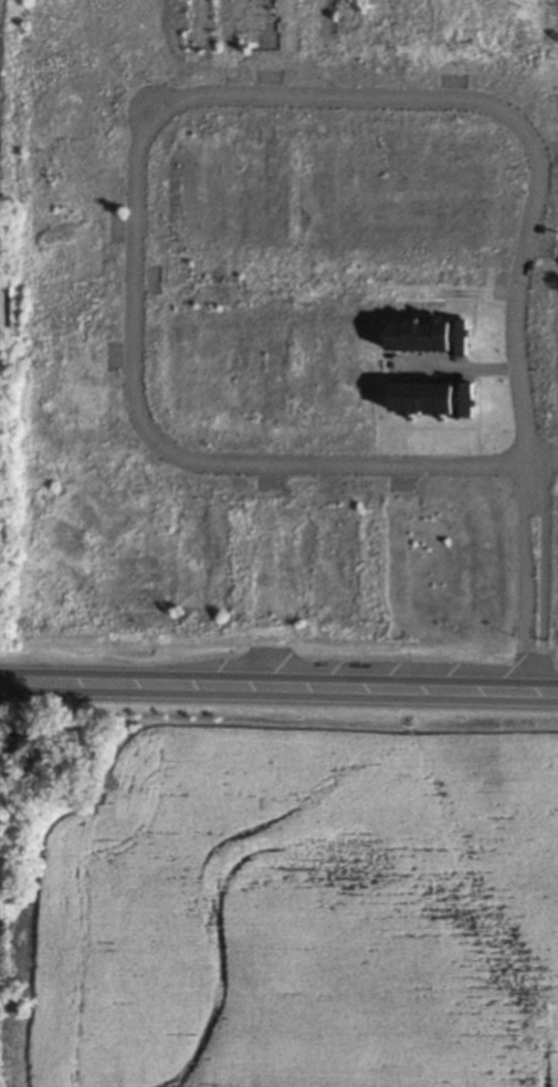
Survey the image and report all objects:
road: (524, 126)
building: (430, 336)
building: (433, 397)
road: (524, 578)
road: (546, 578)
road: (261, 689)
road: (533, 694)
road: (550, 696)
crop: (306, 911)

